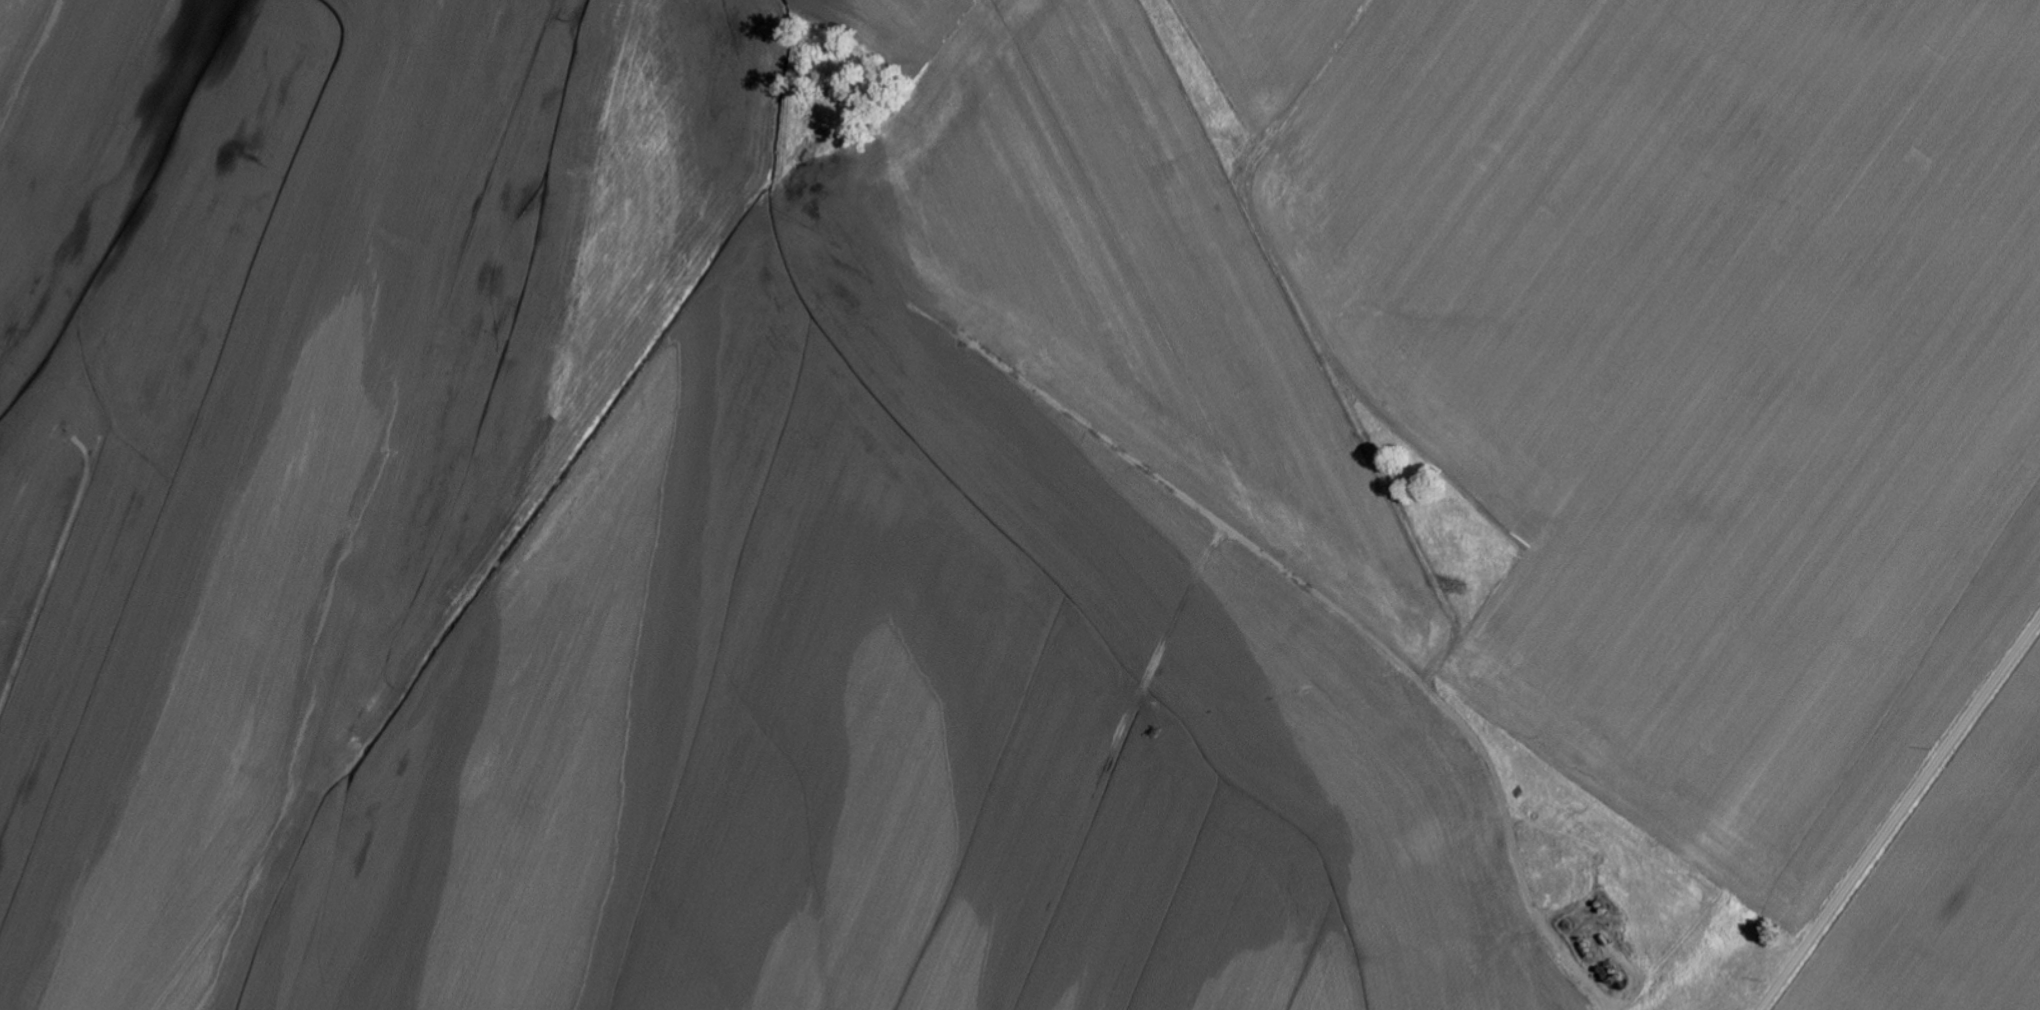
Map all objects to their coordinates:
road: (1899, 814)
road: (1601, 990)

